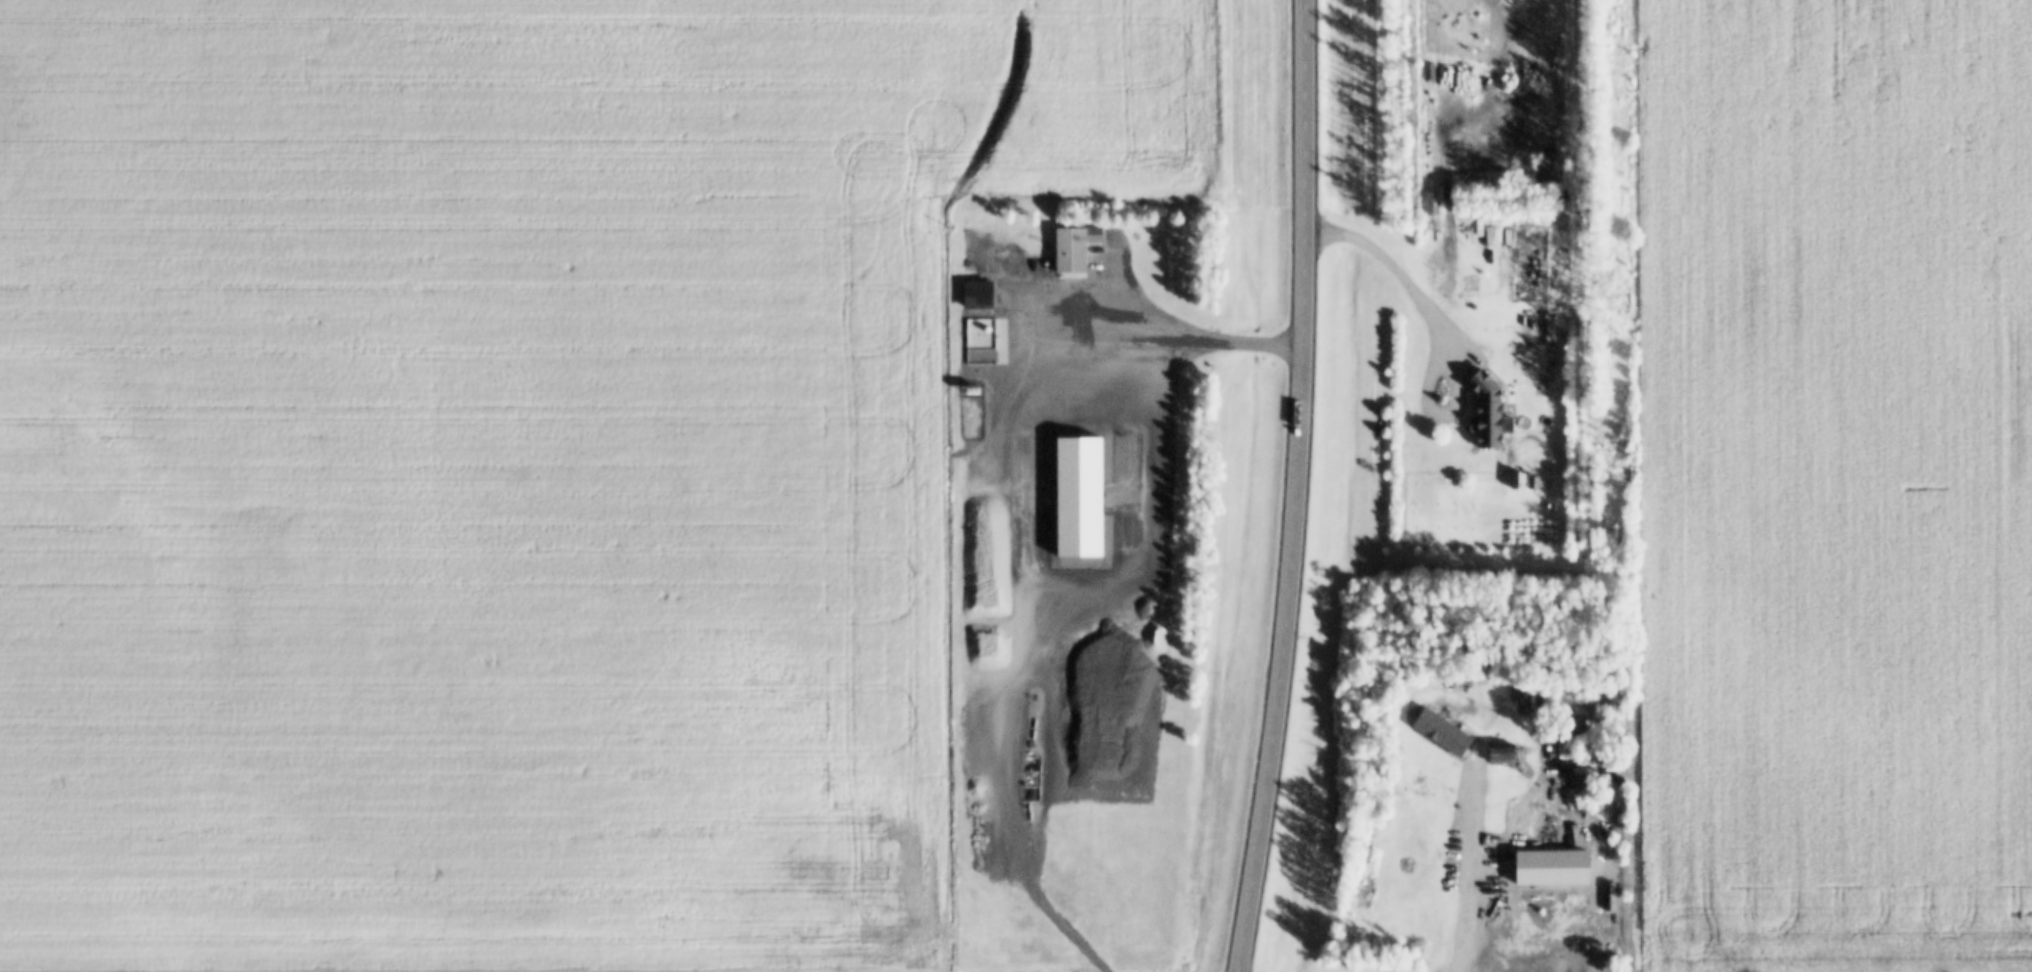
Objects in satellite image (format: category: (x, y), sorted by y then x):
building: (1559, 149)
building: (1431, 203)
building: (1074, 250)
road: (1402, 271)
building: (976, 294)
road: (1202, 338)
building: (1487, 412)
road: (1301, 487)
building: (1567, 702)
building: (1442, 733)
building: (1504, 756)
road: (1474, 847)
building: (1554, 869)
building: (1497, 909)
road: (1052, 912)
building: (1573, 964)

